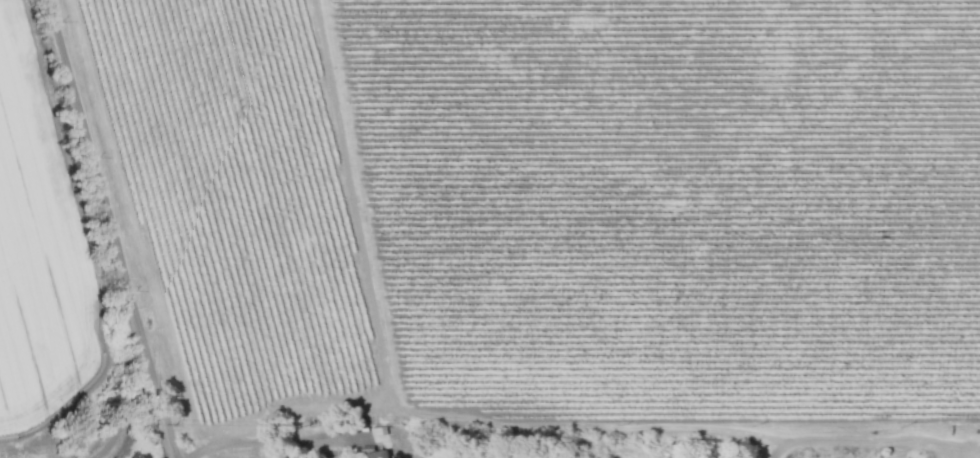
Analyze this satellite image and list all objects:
road: (112, 229)
road: (870, 438)
road: (275, 439)

